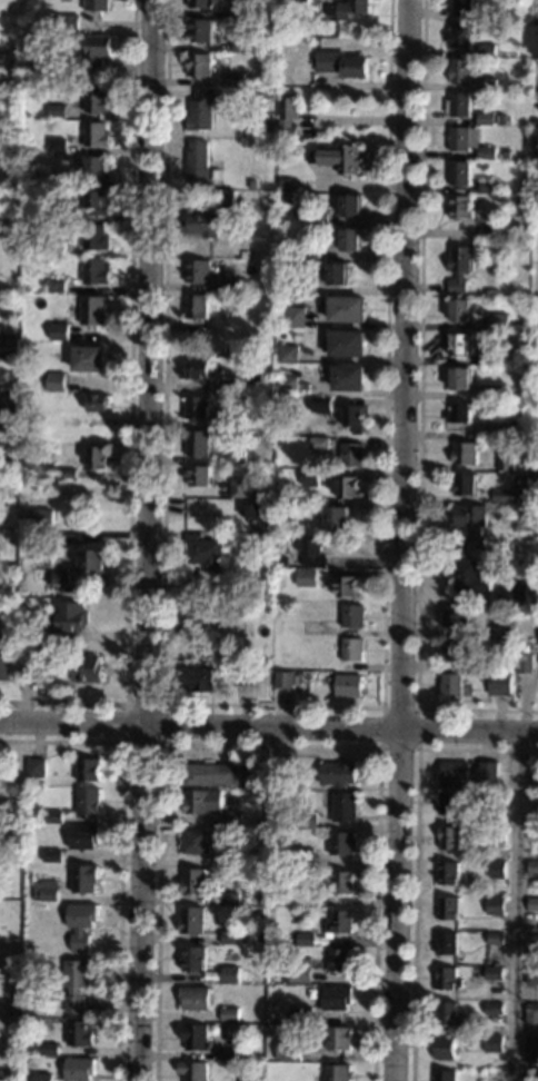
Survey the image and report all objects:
building: (295, 2)
building: (200, 3)
building: (97, 6)
building: (465, 8)
building: (245, 9)
building: (349, 9)
building: (537, 18)
building: (70, 23)
building: (200, 30)
building: (465, 36)
building: (537, 42)
building: (241, 46)
building: (488, 50)
building: (97, 51)
building: (199, 65)
building: (343, 65)
building: (461, 70)
building: (237, 79)
building: (489, 85)
building: (269, 93)
building: (96, 101)
building: (461, 105)
building: (202, 110)
building: (58, 111)
building: (289, 117)
building: (487, 118)
building: (504, 119)
building: (97, 133)
building: (472, 142)
building: (59, 145)
building: (536, 146)
building: (507, 155)
building: (342, 159)
building: (201, 163)
building: (97, 169)
building: (460, 172)
building: (60, 180)
building: (252, 184)
building: (286, 185)
building: (490, 187)
building: (227, 199)
building: (520, 201)
building: (97, 202)
building: (352, 205)
building: (461, 207)
building: (60, 215)
building: (321, 215)
building: (202, 225)
building: (527, 231)
building: (490, 234)
building: (96, 237)
building: (351, 239)
building: (58, 247)
building: (525, 248)
building: (311, 252)
building: (460, 267)
building: (198, 270)
building: (96, 271)
building: (338, 274)
building: (57, 284)
building: (302, 284)
building: (231, 285)
building: (197, 307)
building: (348, 309)
building: (93, 310)
building: (461, 310)
building: (296, 317)
building: (53, 320)
building: (499, 323)
building: (270, 327)
building: (58, 333)
building: (348, 344)
building: (461, 344)
building: (9, 347)
building: (288, 354)
building: (492, 357)
building: (508, 357)
building: (89, 358)
building: (198, 369)
building: (349, 377)
building: (461, 378)
building: (56, 383)
building: (251, 383)
building: (287, 385)
building: (492, 393)
building: (97, 403)
building: (321, 405)
building: (8, 408)
building: (196, 408)
building: (460, 414)
road: (128, 415)
road: (419, 415)
building: (353, 416)
building: (69, 420)
building: (229, 423)
building: (500, 430)
building: (197, 443)
building: (319, 443)
building: (8, 449)
building: (465, 454)
building: (351, 455)
building: (96, 457)
building: (236, 457)
building: (505, 462)
building: (253, 472)
building: (267, 472)
building: (68, 474)
building: (198, 475)
building: (535, 476)
building: (310, 478)
building: (466, 485)
building: (3, 486)
building: (349, 487)
building: (238, 488)
building: (510, 496)
building: (269, 510)
building: (255, 516)
building: (336, 518)
building: (68, 520)
building: (34, 522)
building: (471, 524)
building: (221, 534)
road: (147, 540)
road: (401, 540)
building: (202, 552)
building: (312, 552)
building: (89, 561)
building: (282, 562)
building: (59, 577)
building: (306, 577)
building: (468, 577)
building: (54, 587)
building: (348, 587)
building: (512, 593)
building: (237, 607)
building: (193, 613)
building: (70, 616)
building: (351, 616)
building: (454, 617)
building: (312, 628)
building: (501, 631)
building: (40, 635)
building: (504, 645)
building: (351, 649)
building: (451, 651)
building: (32, 658)
building: (6, 659)
building: (501, 665)
building: (526, 665)
building: (86, 668)
building: (242, 675)
building: (302, 676)
building: (198, 680)
building: (285, 680)
building: (450, 684)
building: (499, 684)
building: (347, 686)
road: (275, 705)
road: (269, 727)
road: (160, 743)
road: (268, 745)
road: (415, 748)
building: (36, 768)
building: (88, 770)
building: (280, 772)
building: (466, 773)
building: (210, 774)
building: (338, 774)
building: (534, 782)
building: (498, 799)
building: (534, 800)
building: (89, 802)
building: (202, 802)
building: (455, 803)
building: (345, 807)
building: (53, 817)
building: (233, 819)
building: (308, 820)
building: (260, 822)
building: (534, 834)
building: (84, 837)
building: (497, 837)
building: (454, 839)
building: (196, 842)
building: (343, 844)
road: (121, 850)
road: (415, 853)
building: (52, 856)
building: (305, 857)
building: (233, 861)
building: (534, 866)
building: (497, 870)
building: (449, 873)
building: (84, 877)
building: (195, 882)
building: (343, 882)
building: (48, 891)
building: (231, 899)
building: (534, 904)
building: (497, 906)
building: (449, 908)
road: (516, 908)
building: (262, 912)
building: (192, 921)
building: (341, 922)
building: (82, 924)
building: (231, 936)
building: (307, 939)
building: (497, 939)
building: (447, 943)
building: (196, 959)
building: (342, 960)
building: (484, 962)
building: (253, 963)
building: (298, 973)
building: (495, 973)
building: (231, 975)
building: (532, 975)
building: (449, 979)
building: (79, 982)
building: (27, 991)
building: (339, 998)
building: (197, 999)
building: (495, 1009)
building: (231, 1014)
building: (531, 1014)
building: (305, 1015)
building: (450, 1015)
building: (82, 1033)
building: (197, 1037)
building: (340, 1039)
building: (532, 1043)
building: (495, 1044)
building: (447, 1048)
building: (51, 1050)
building: (290, 1050)
building: (229, 1053)
building: (80, 1069)
building: (196, 1071)
building: (341, 1073)
building: (447, 1075)
building: (495, 1075)
building: (532, 1077)
building: (46, 1078)
building: (250, 1080)

